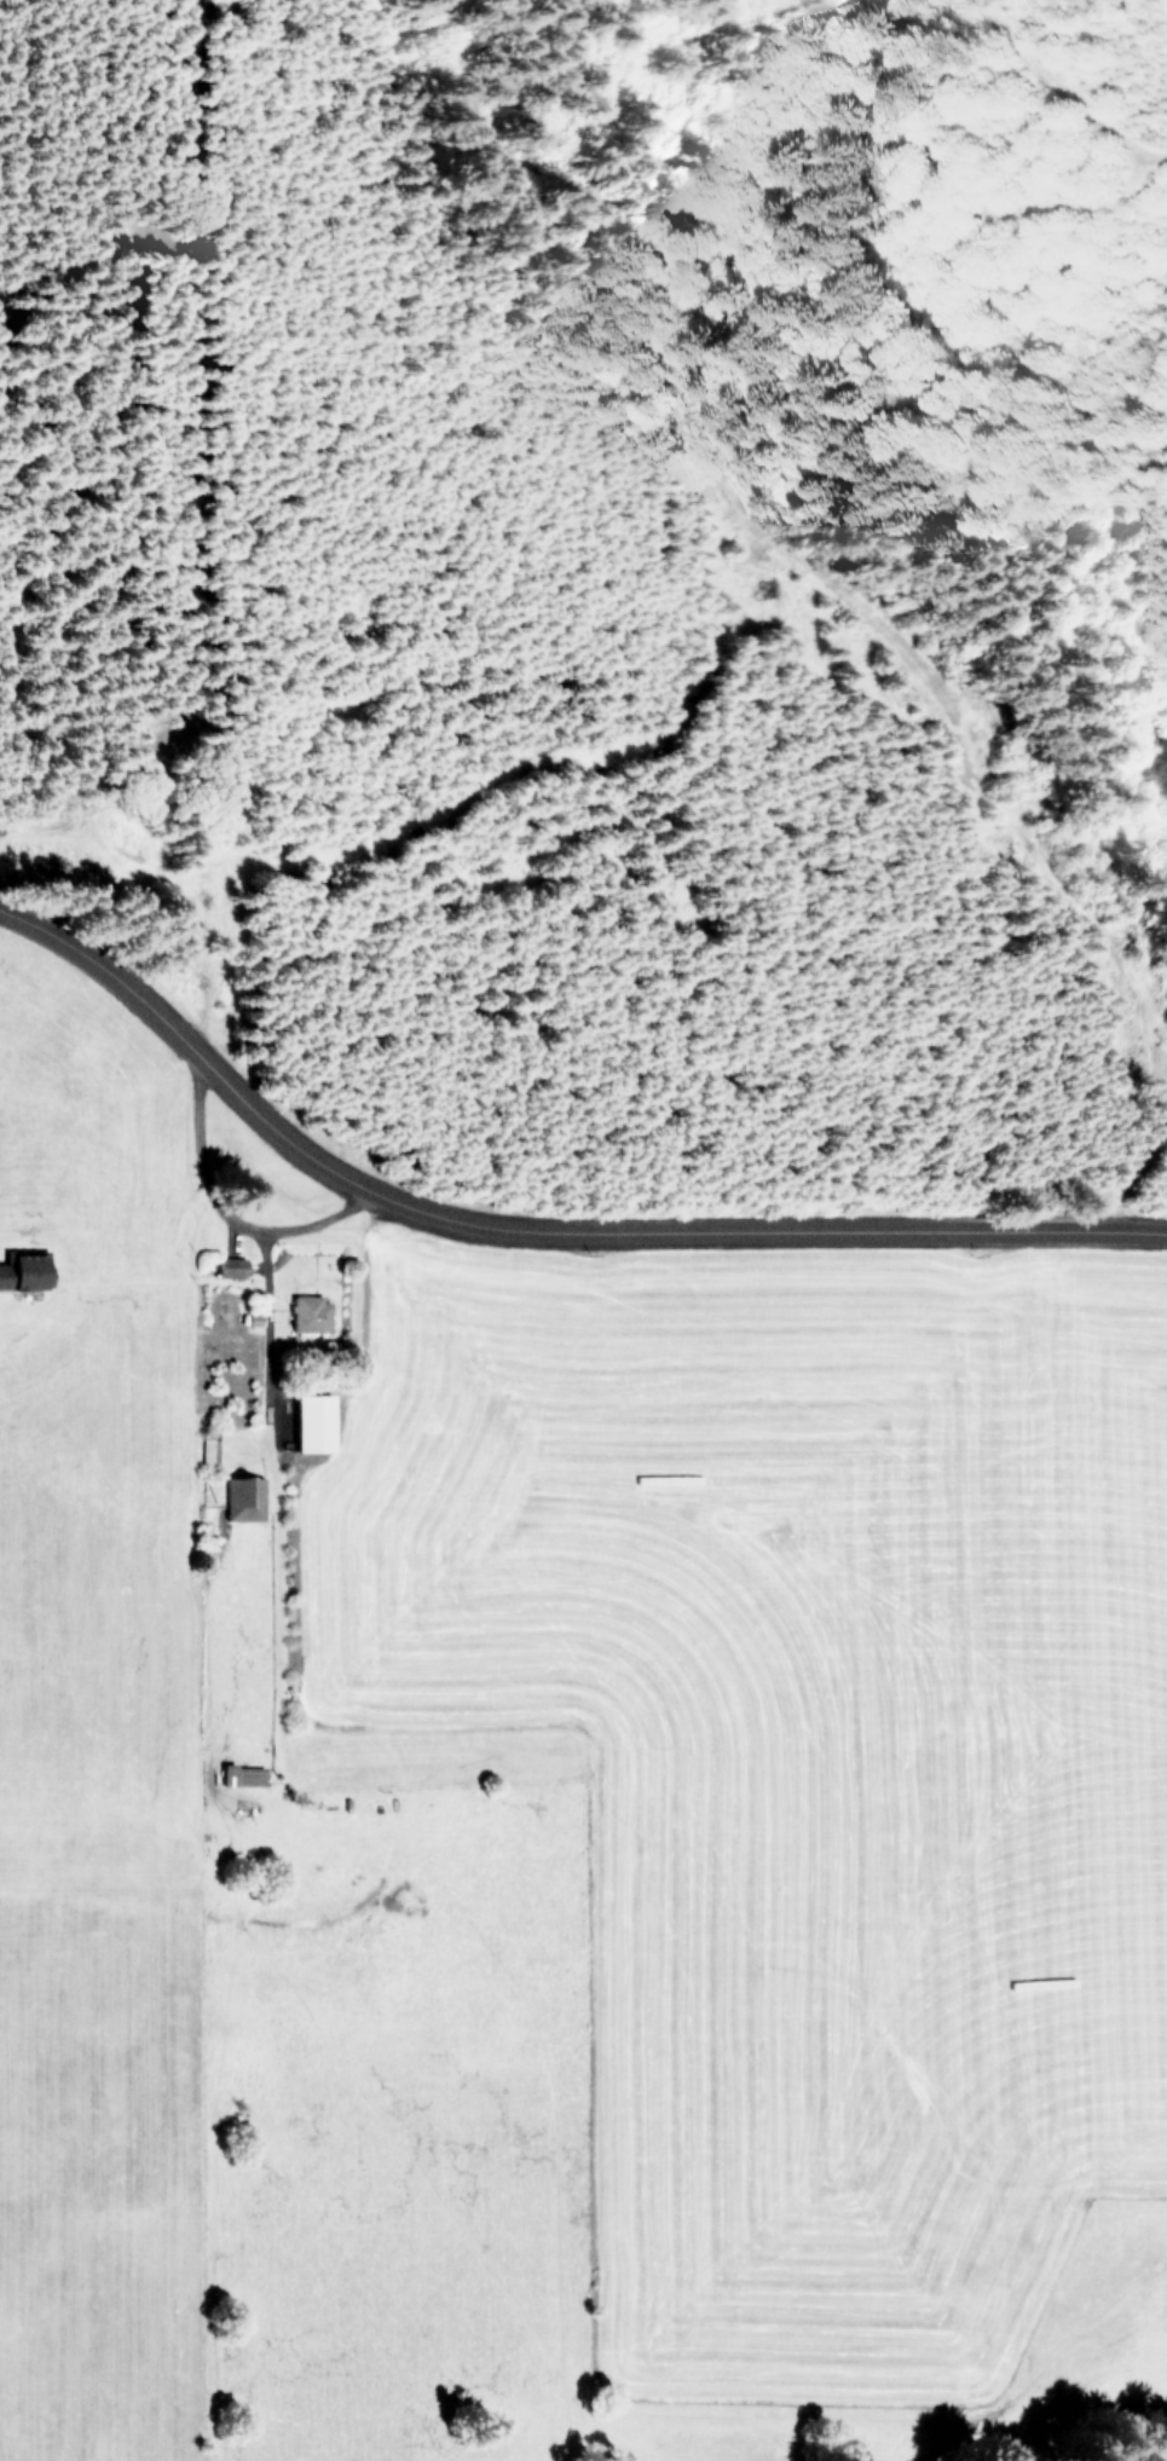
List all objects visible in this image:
road: (1061, 88)
road: (223, 1212)
road: (530, 1236)
building: (232, 1266)
building: (23, 1271)
building: (310, 1313)
road: (267, 1331)
building: (313, 1422)
building: (239, 1501)
crop: (549, 1819)

